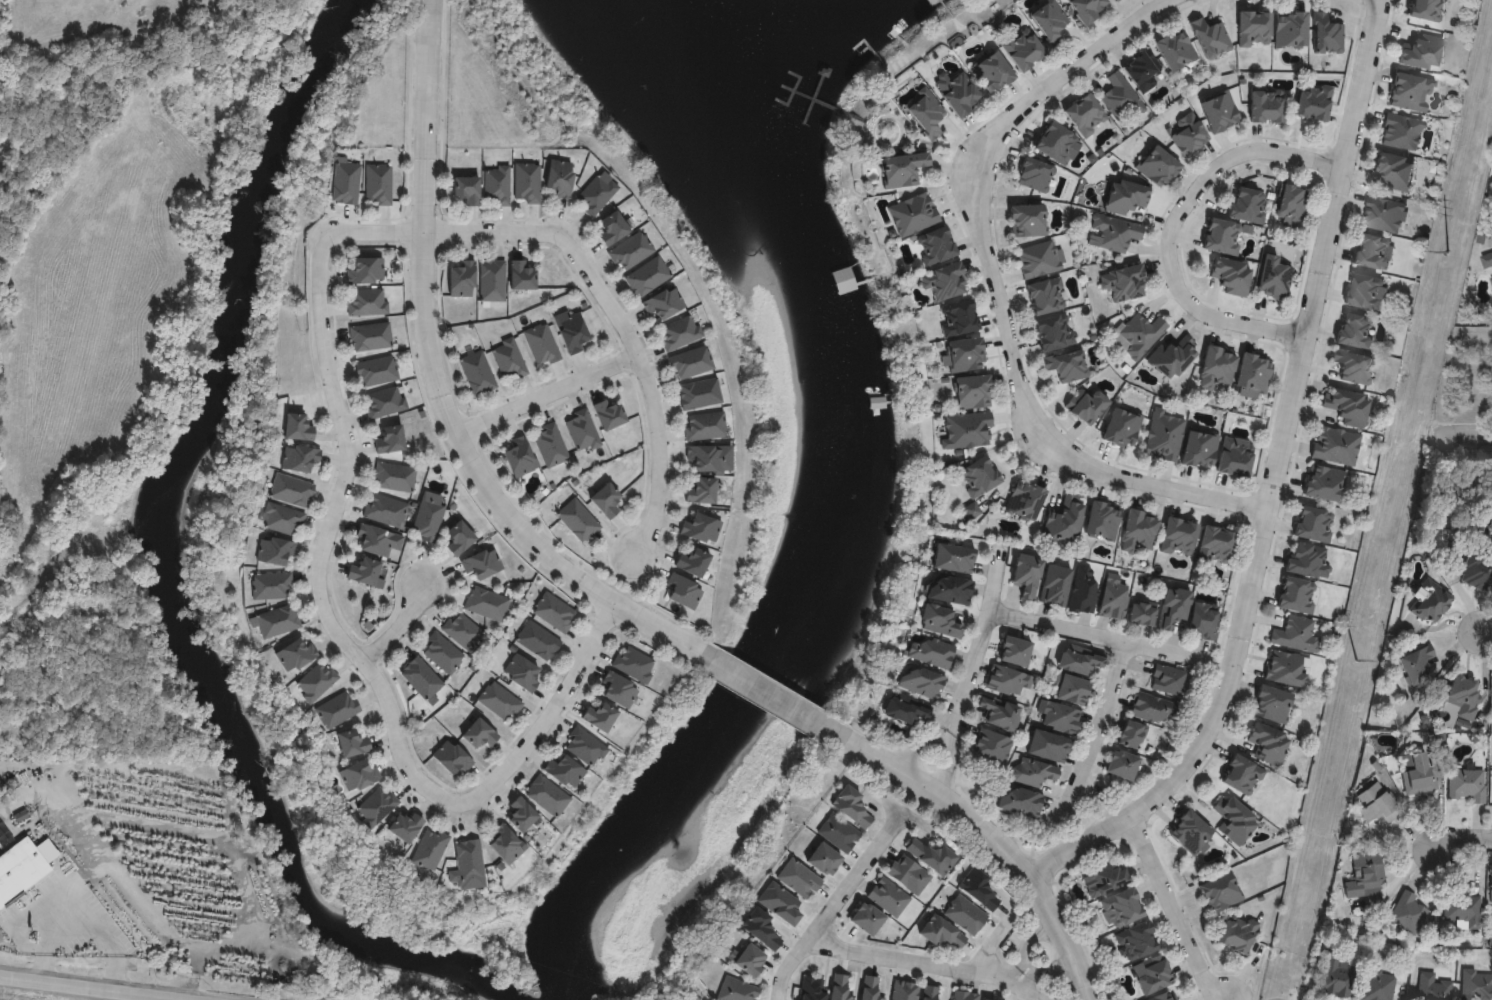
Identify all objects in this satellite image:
building: (1116, 0)
building: (1087, 8)
building: (1050, 21)
building: (1254, 28)
building: (1291, 29)
building: (1327, 34)
building: (1211, 37)
building: (1023, 48)
building: (1176, 49)
building: (1142, 70)
building: (991, 71)
building: (957, 92)
building: (1121, 96)
building: (1313, 100)
building: (1266, 104)
building: (1220, 111)
building: (1085, 114)
building: (926, 115)
road: (428, 119)
building: (1188, 133)
building: (1057, 143)
building: (1158, 166)
building: (902, 169)
building: (1035, 173)
building: (560, 177)
building: (346, 182)
building: (527, 182)
building: (378, 184)
building: (468, 189)
building: (596, 193)
building: (1125, 196)
building: (1248, 204)
building: (1292, 204)
building: (913, 214)
building: (1027, 220)
road: (1175, 224)
building: (614, 226)
building: (1115, 232)
building: (1222, 236)
road: (442, 238)
building: (935, 245)
building: (630, 251)
power tower: (1446, 253)
building: (1038, 258)
building: (366, 270)
building: (522, 275)
building: (1232, 275)
building: (647, 276)
building: (1273, 277)
building: (463, 279)
building: (492, 280)
building: (944, 280)
building: (1124, 282)
road: (992, 290)
building: (1046, 295)
building: (368, 302)
building: (663, 302)
building: (958, 317)
building: (571, 330)
building: (1355, 330)
building: (1054, 331)
building: (679, 332)
building: (1139, 334)
building: (370, 336)
building: (542, 344)
building: (1172, 356)
building: (509, 358)
building: (691, 362)
building: (1067, 364)
building: (1354, 366)
building: (1217, 367)
building: (377, 371)
building: (478, 372)
building: (1253, 374)
road: (643, 390)
building: (971, 391)
building: (699, 393)
building: (385, 402)
building: (1086, 404)
building: (1348, 406)
road: (549, 413)
building: (609, 414)
building: (705, 425)
building: (298, 426)
building: (1122, 426)
building: (582, 430)
building: (967, 430)
road: (1468, 432)
building: (1164, 435)
building: (390, 439)
building: (551, 444)
building: (1335, 445)
building: (1200, 448)
building: (521, 456)
building: (1236, 456)
building: (300, 457)
building: (707, 470)
building: (394, 476)
building: (978, 476)
road: (1268, 478)
building: (292, 490)
building: (606, 499)
building: (1025, 500)
road: (494, 503)
building: (386, 510)
building: (972, 510)
building: (281, 518)
building: (428, 519)
building: (578, 519)
building: (1065, 519)
building: (1103, 520)
building: (701, 528)
building: (1138, 530)
building: (1179, 536)
building: (459, 537)
building: (378, 539)
building: (1216, 544)
road: (325, 545)
building: (275, 550)
building: (954, 557)
building: (693, 561)
river: (171, 562)
building: (482, 562)
building: (366, 572)
building: (1027, 574)
building: (1055, 584)
building: (272, 585)
building: (950, 589)
building: (684, 590)
building: (1084, 591)
building: (1113, 597)
building: (486, 603)
building: (1174, 606)
building: (555, 611)
building: (1142, 612)
building: (940, 620)
building: (1203, 620)
building: (276, 621)
road: (401, 625)
building: (463, 630)
road: (1485, 633)
road: (983, 634)
road: (1097, 636)
building: (538, 639)
building: (1015, 651)
building: (442, 652)
building: (932, 652)
building: (295, 655)
building: (1080, 658)
power tower: (1356, 662)
road: (1219, 663)
building: (635, 664)
building: (522, 672)
building: (423, 678)
building: (1007, 679)
building: (1169, 679)
building: (316, 681)
building: (922, 682)
building: (619, 688)
building: (1071, 688)
building: (500, 700)
road: (782, 706)
building: (1152, 707)
building: (906, 708)
building: (338, 709)
building: (999, 712)
road: (544, 715)
building: (600, 716)
building: (1060, 716)
road: (1094, 726)
building: (480, 733)
building: (1132, 733)
road: (925, 739)
building: (352, 742)
building: (585, 745)
building: (991, 745)
building: (1048, 745)
road: (949, 751)
building: (452, 756)
building: (1122, 764)
building: (565, 771)
building: (1033, 771)
building: (358, 775)
building: (547, 795)
road: (941, 802)
building: (1021, 802)
building: (376, 806)
building: (851, 806)
building: (522, 814)
building: (406, 826)
building: (1190, 831)
building: (838, 832)
road: (1462, 836)
building: (506, 843)
building: (430, 848)
building: (932, 855)
building: (824, 858)
building: (468, 864)
building: (22, 865)
building: (908, 873)
building: (799, 878)
building: (1104, 879)
building: (979, 888)
building: (1220, 891)
road: (52, 893)
building: (888, 896)
road: (833, 905)
building: (1121, 907)
road: (1174, 907)
building: (965, 913)
building: (866, 917)
building: (761, 928)
building: (941, 931)
road: (1067, 931)
building: (1237, 934)
building: (1136, 939)
road: (993, 944)
road: (1026, 944)
building: (749, 959)
road: (927, 962)
road: (41, 967)
road: (1046, 968)
building: (1152, 973)
road: (116, 974)
road: (81, 987)
building: (840, 987)
building: (811, 988)
building: (870, 988)
building: (737, 989)
building: (913, 991)
building: (964, 995)
building: (986, 999)

